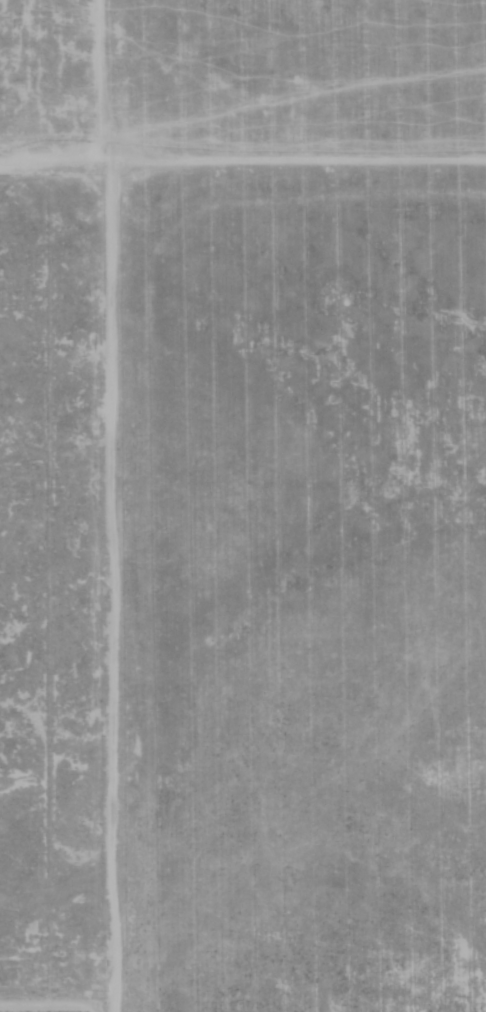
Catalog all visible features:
crop: (45, 1009)

